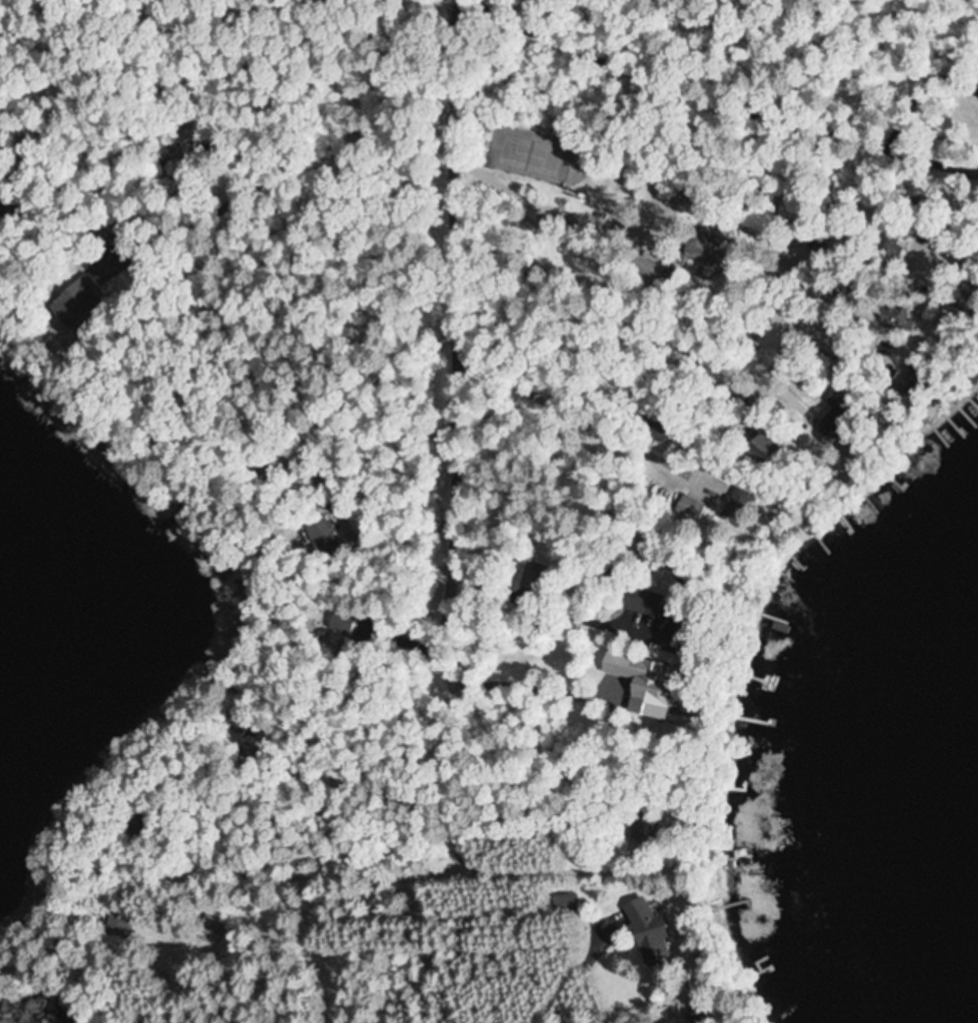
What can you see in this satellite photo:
road: (878, 35)
building: (977, 79)
road: (719, 98)
road: (645, 173)
building: (888, 242)
building: (700, 253)
building: (649, 266)
building: (76, 300)
road: (611, 315)
building: (894, 317)
road: (460, 405)
building: (763, 451)
building: (688, 509)
building: (323, 537)
building: (638, 601)
building: (640, 683)
building: (211, 929)
building: (644, 930)
road: (239, 971)

